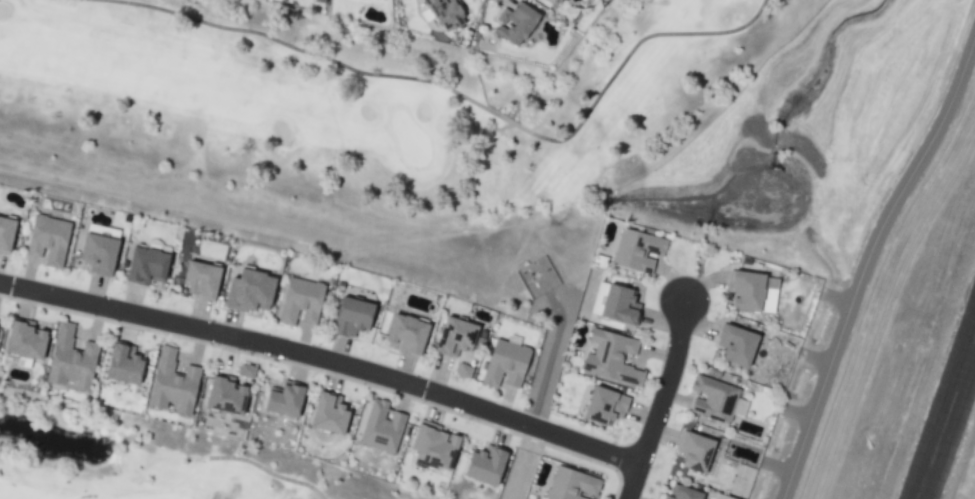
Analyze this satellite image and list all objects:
building: (320, 0)
building: (556, 1)
building: (451, 13)
building: (522, 24)
park: (437, 132)
building: (9, 234)
building: (52, 240)
airport taxiway: (864, 251)
building: (637, 252)
building: (106, 254)
building: (151, 266)
airport taxiway: (871, 274)
building: (208, 280)
road: (673, 282)
airport: (890, 282)
road: (702, 287)
building: (747, 291)
building: (257, 292)
building: (305, 302)
building: (619, 305)
building: (359, 317)
road: (665, 321)
building: (0, 322)
road: (694, 329)
building: (414, 335)
building: (460, 337)
building: (737, 346)
road: (660, 357)
building: (611, 358)
building: (75, 360)
road: (548, 361)
road: (325, 362)
building: (130, 365)
building: (509, 365)
building: (250, 370)
building: (465, 371)
building: (177, 384)
airport runway: (937, 390)
building: (233, 396)
road: (666, 398)
road: (677, 398)
building: (714, 398)
building: (289, 399)
building: (604, 407)
building: (336, 414)
road: (645, 416)
building: (385, 427)
road: (665, 433)
airport runway: (956, 446)
building: (441, 447)
building: (695, 453)
park: (145, 464)
building: (490, 465)
building: (572, 486)
building: (682, 492)
building: (727, 497)

